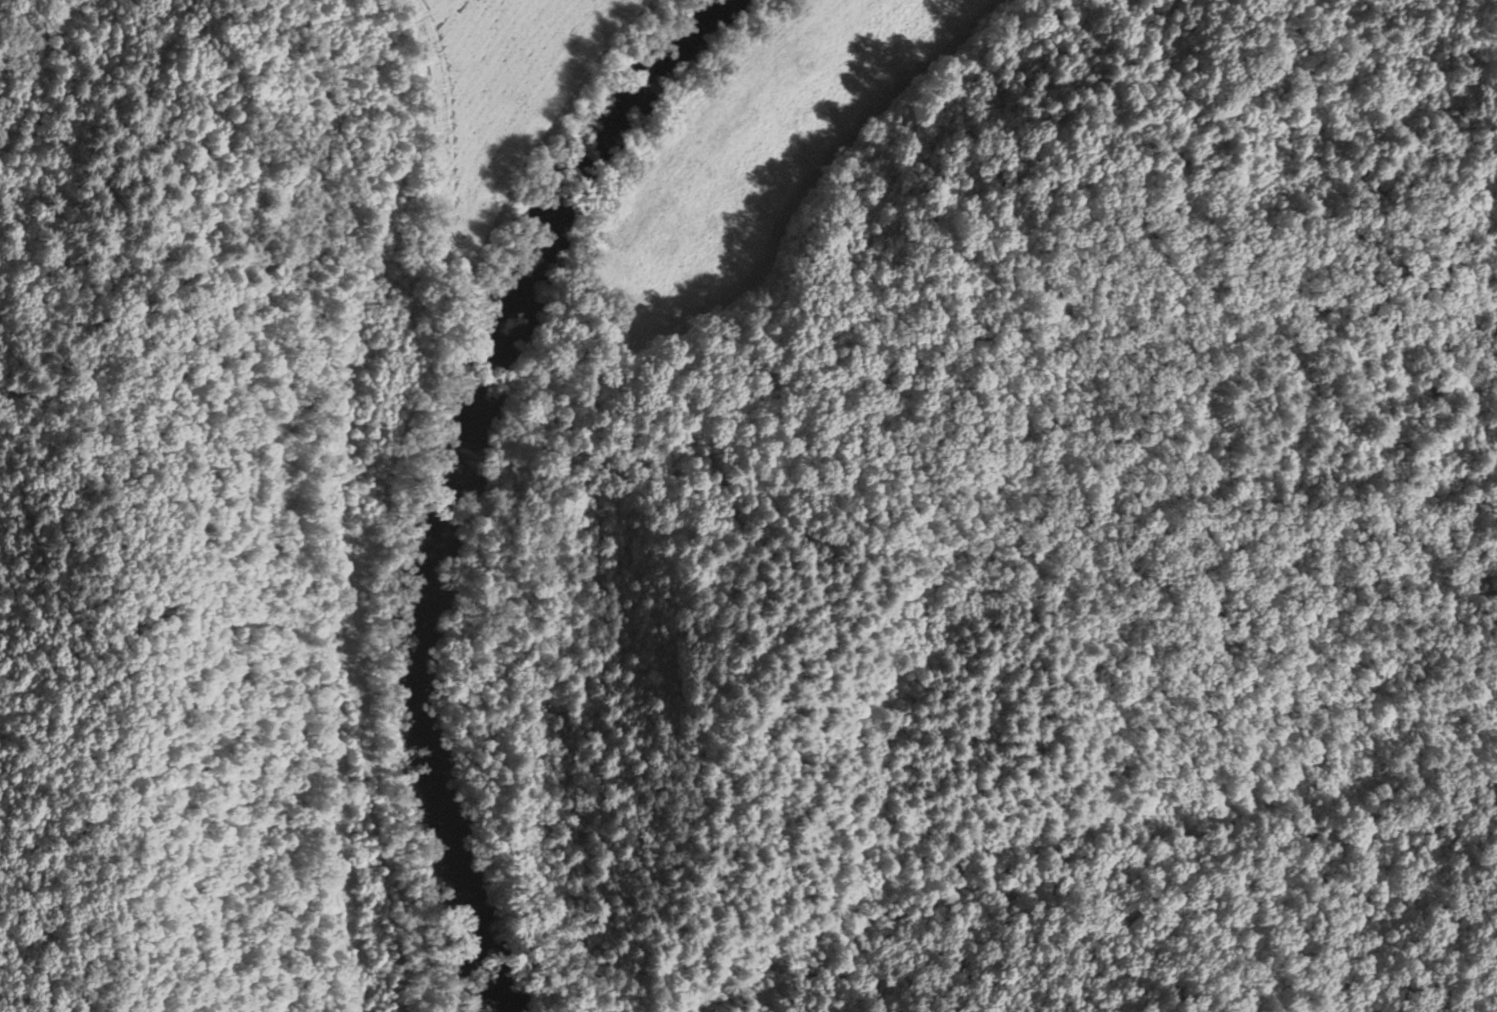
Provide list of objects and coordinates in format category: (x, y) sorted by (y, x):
river: (457, 471)

